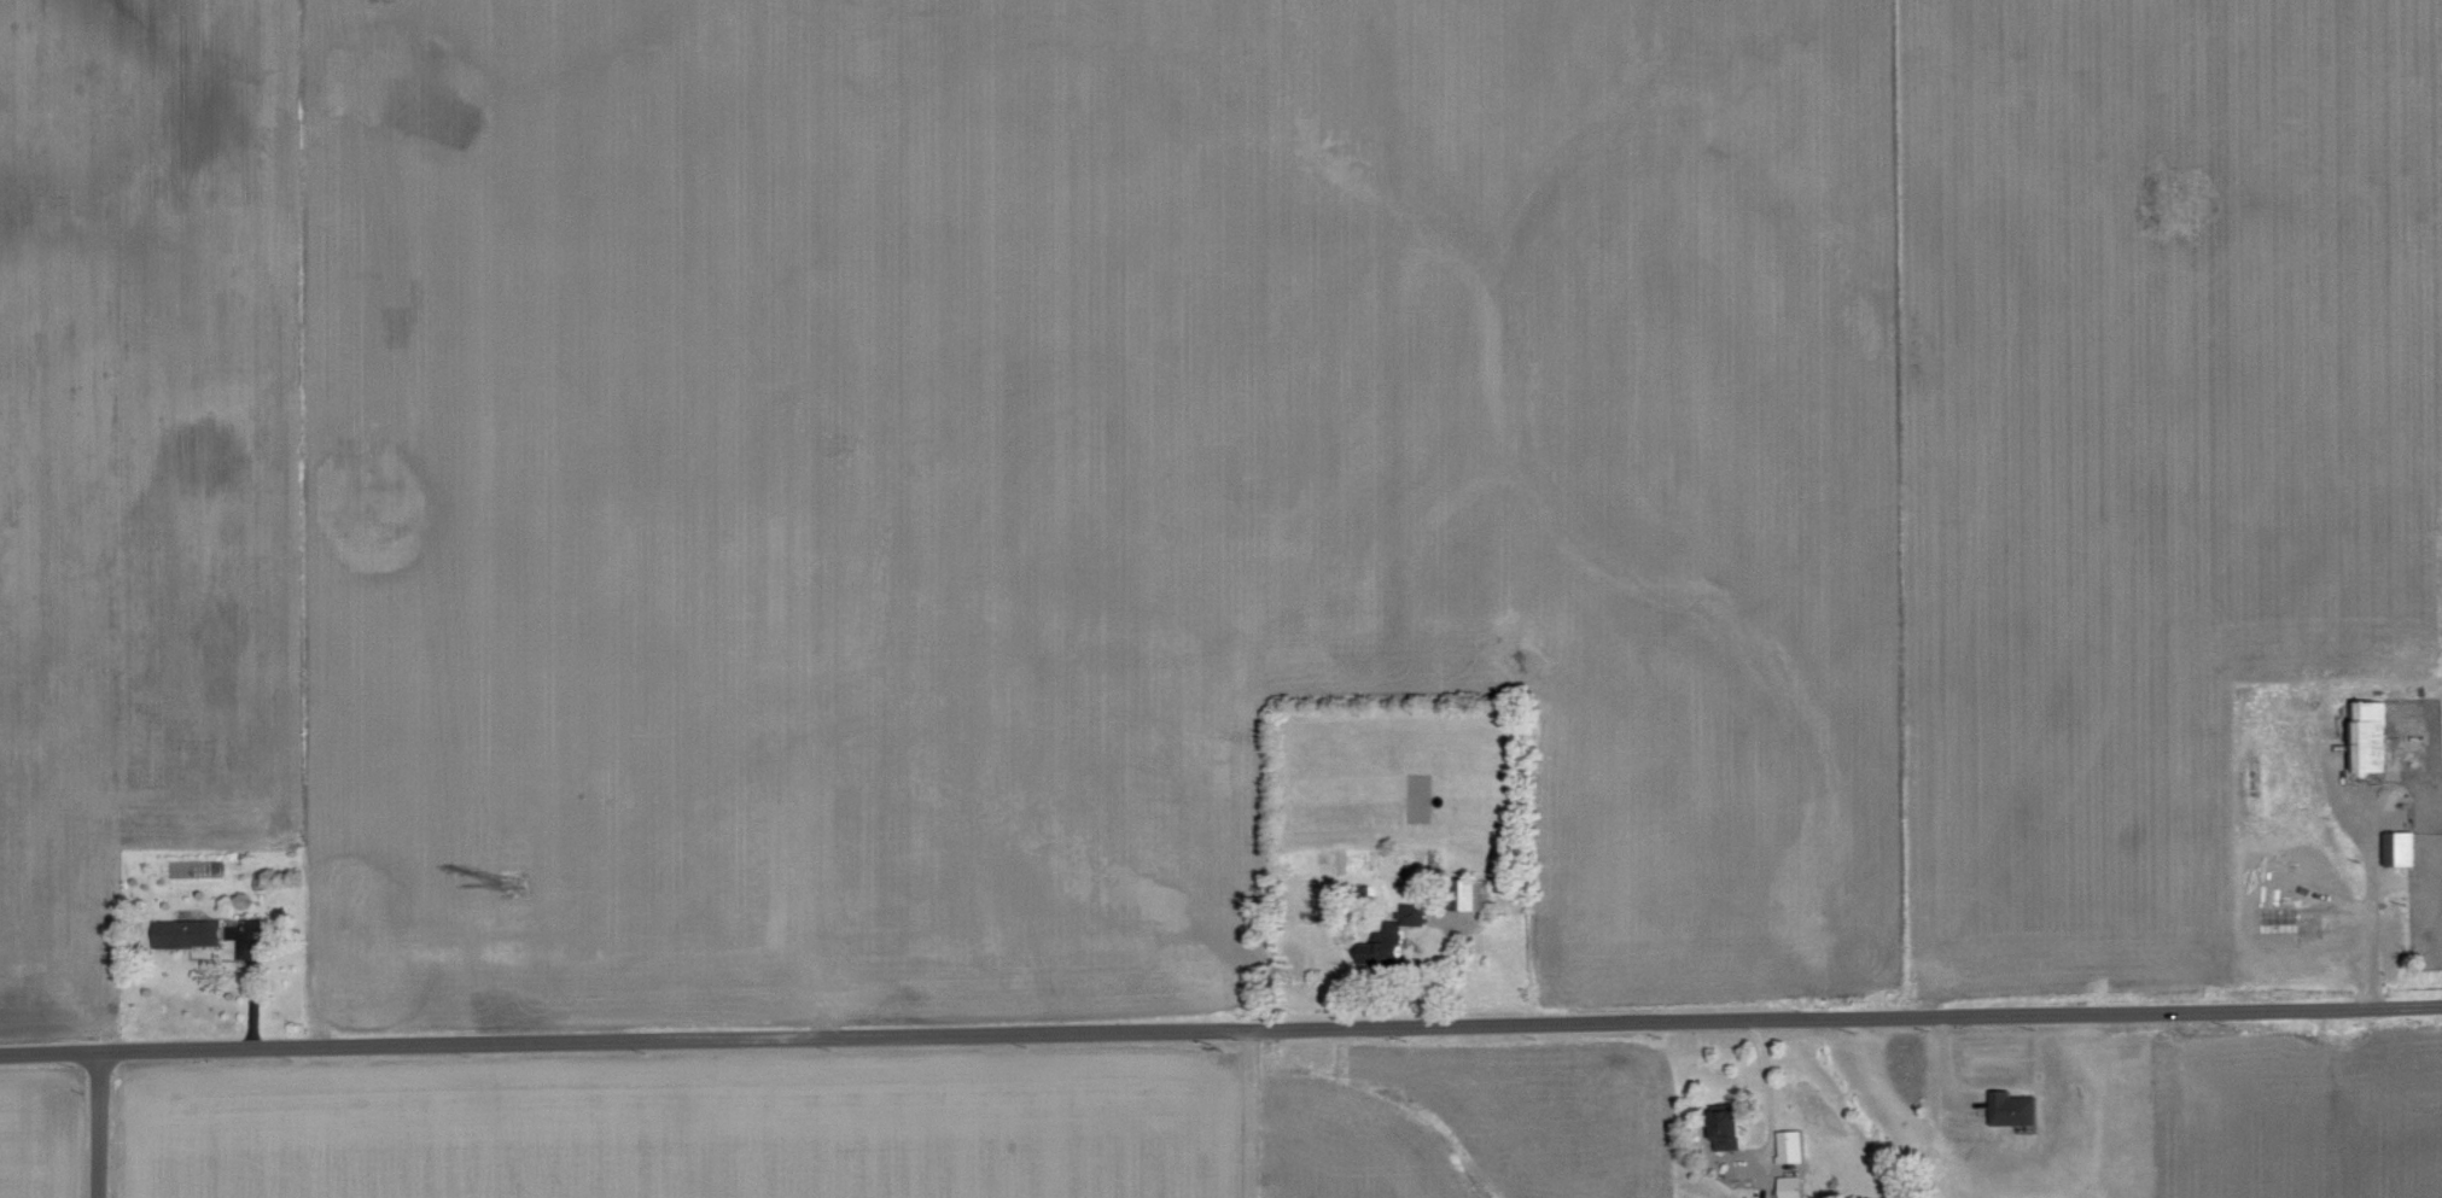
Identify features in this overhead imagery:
power tower: (384, 1)
building: (2374, 737)
building: (2405, 848)
power tower: (517, 896)
building: (1418, 916)
road: (2360, 924)
building: (194, 931)
road: (1445, 959)
road: (1220, 1027)
road: (1771, 1104)
building: (2020, 1106)
road: (1249, 1112)
road: (98, 1123)
building: (1735, 1127)
building: (1794, 1186)

